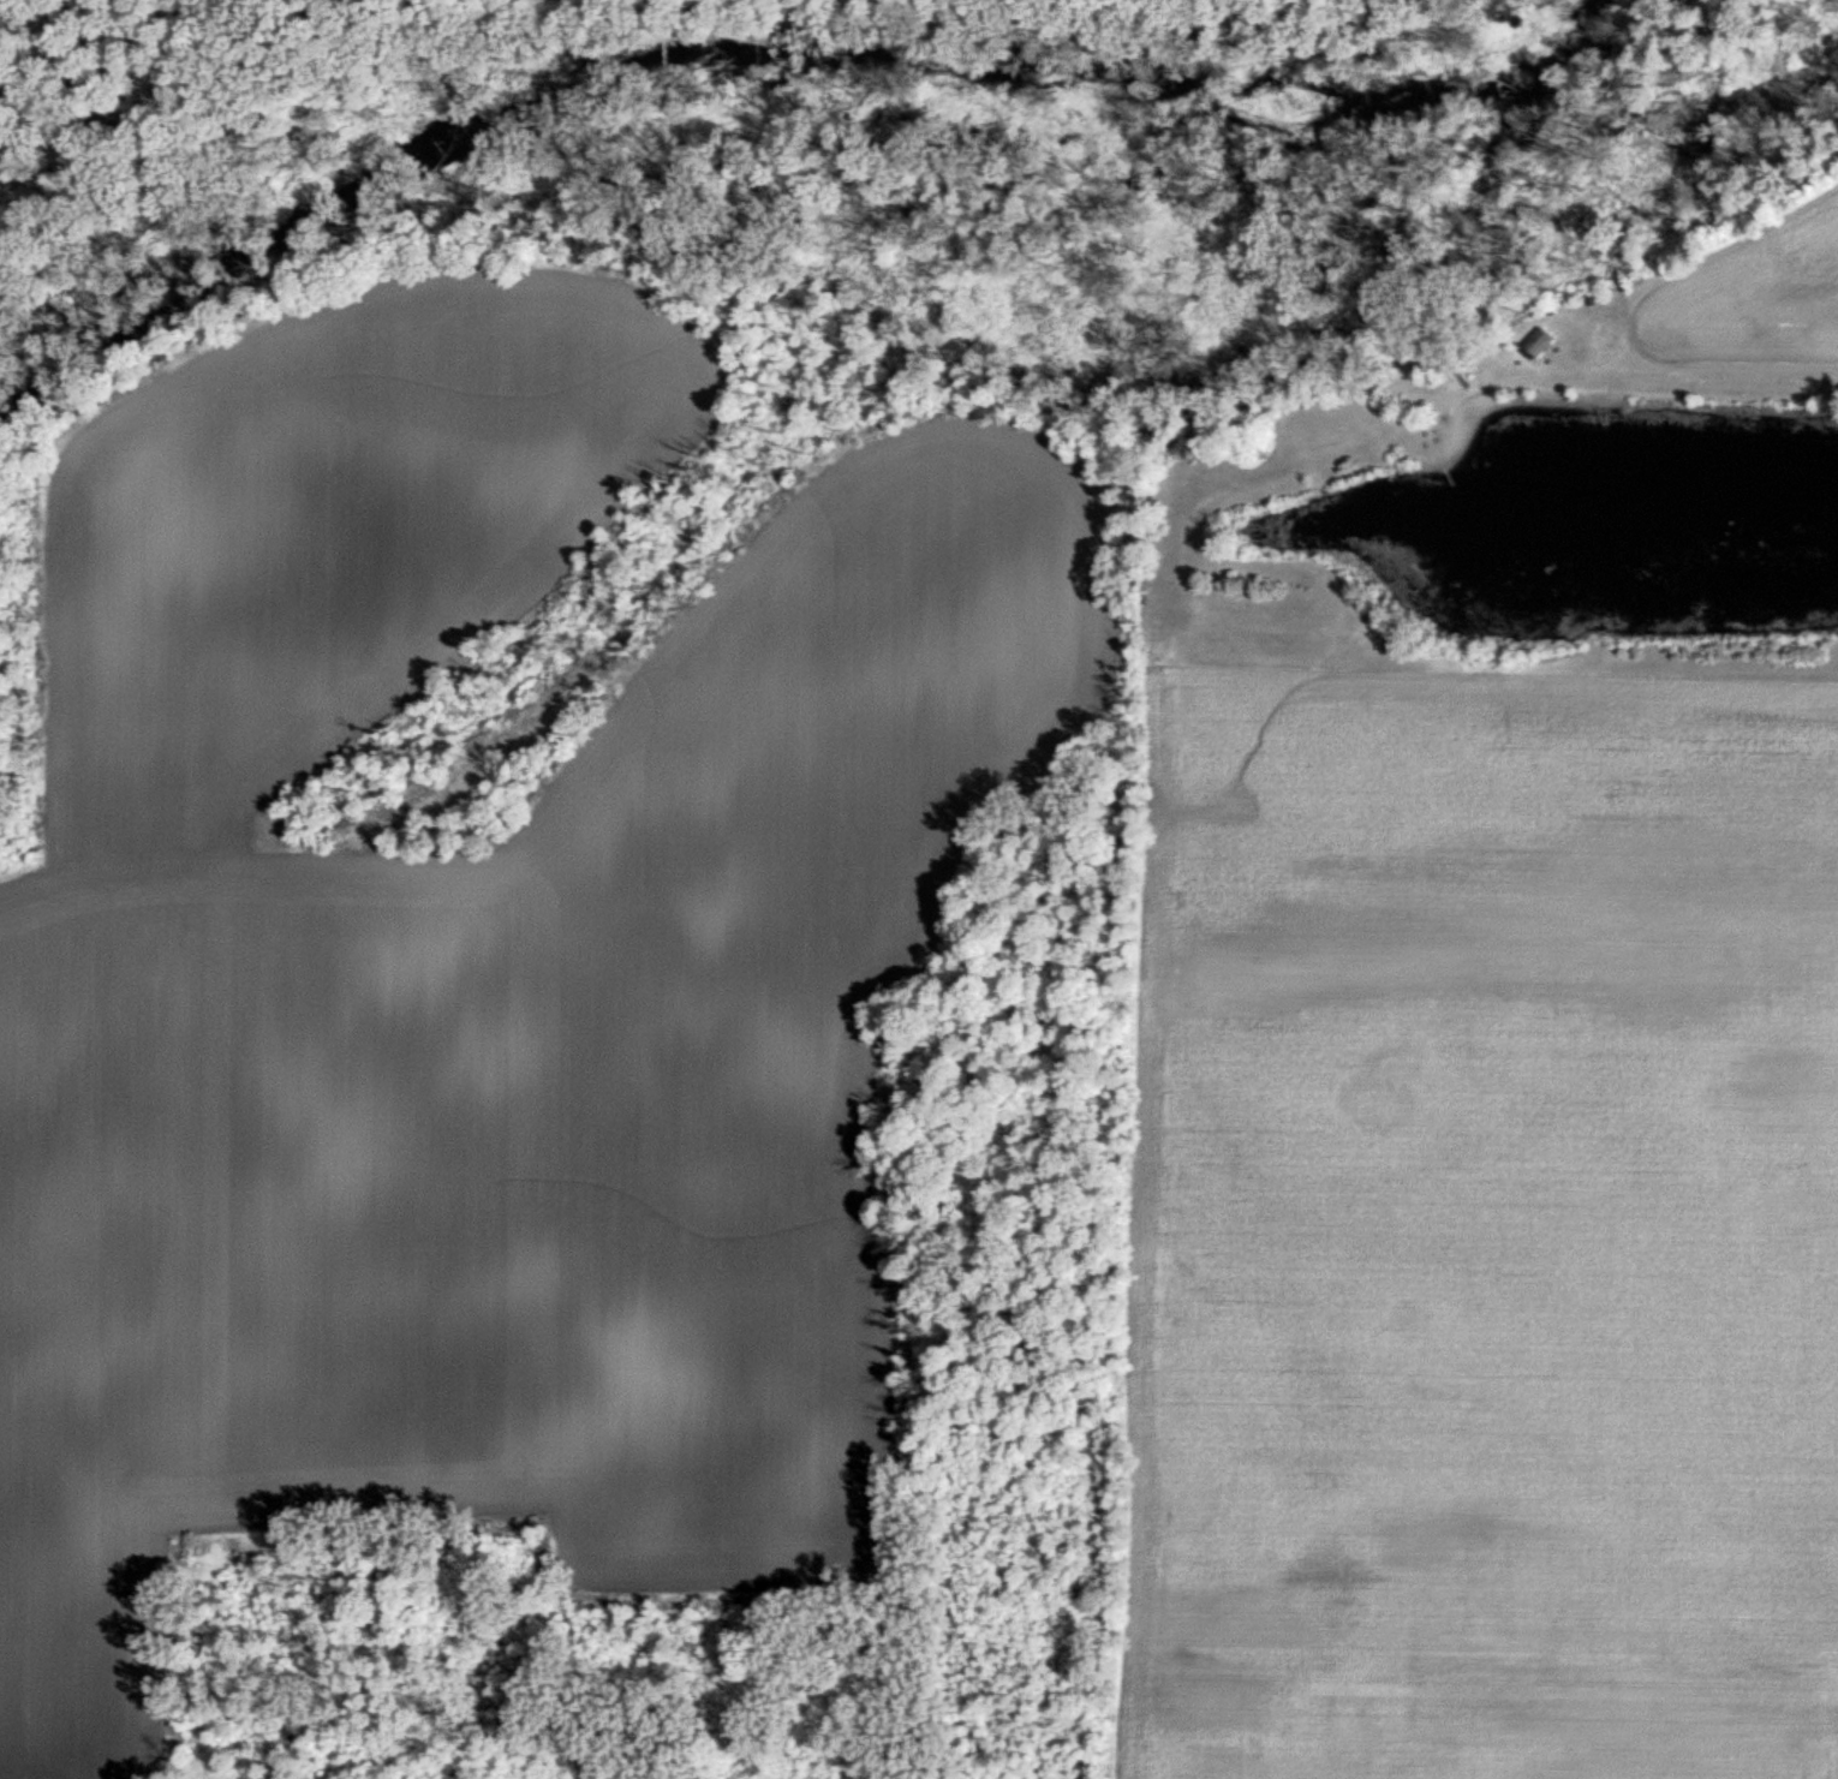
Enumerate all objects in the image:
river: (817, 119)
building: (1539, 344)

